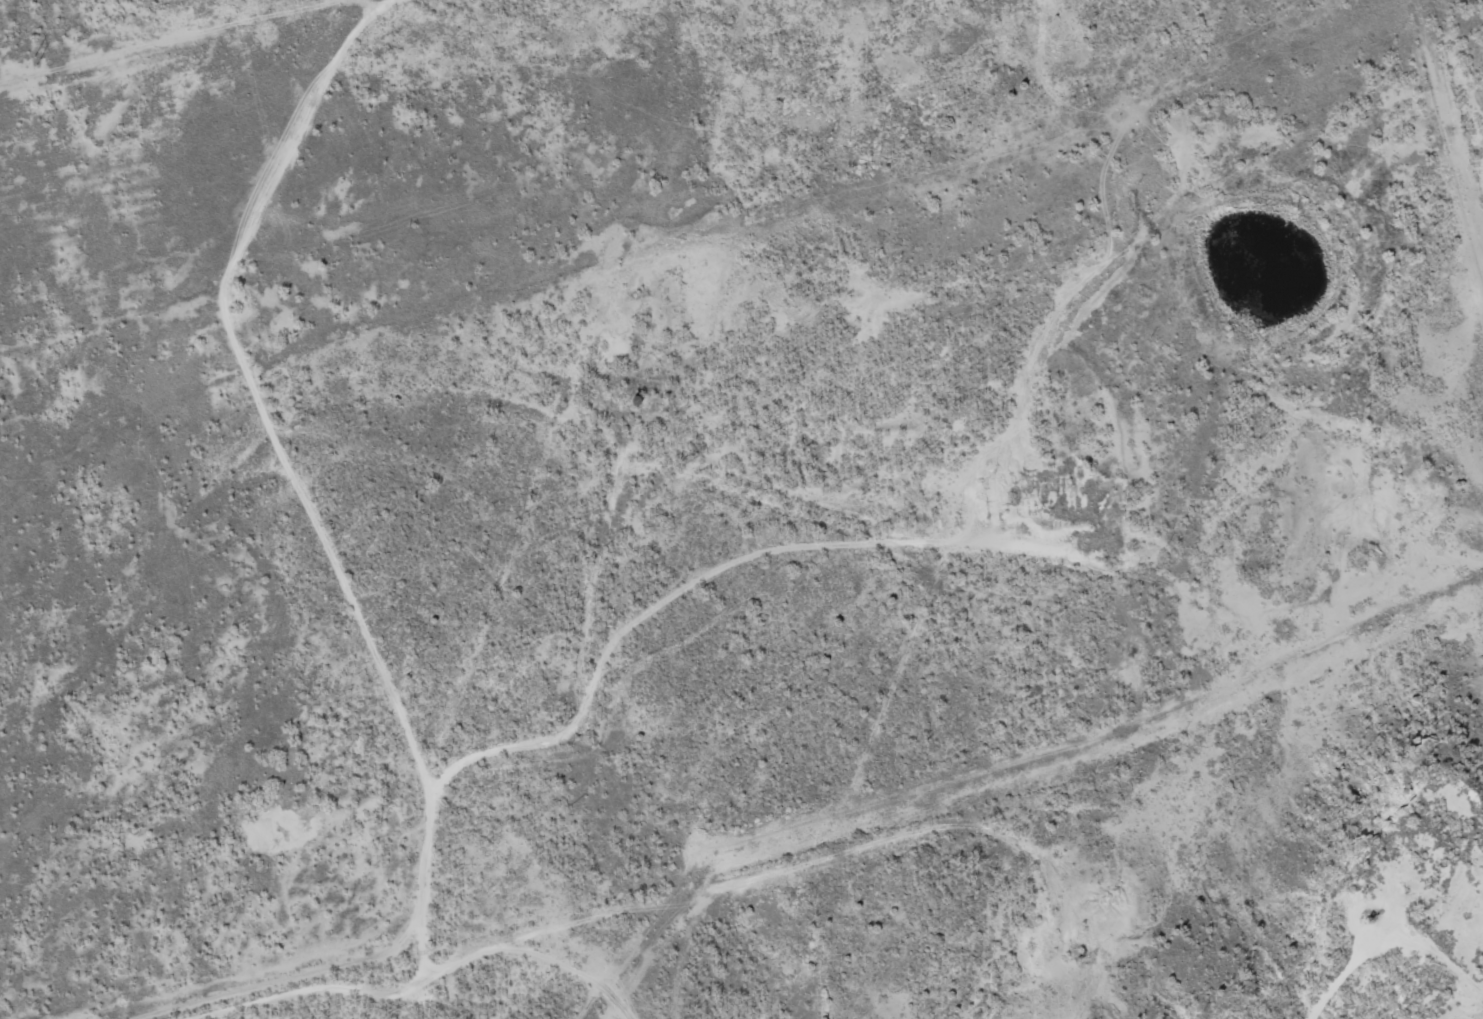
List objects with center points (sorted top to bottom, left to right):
power tower: (32, 61)

